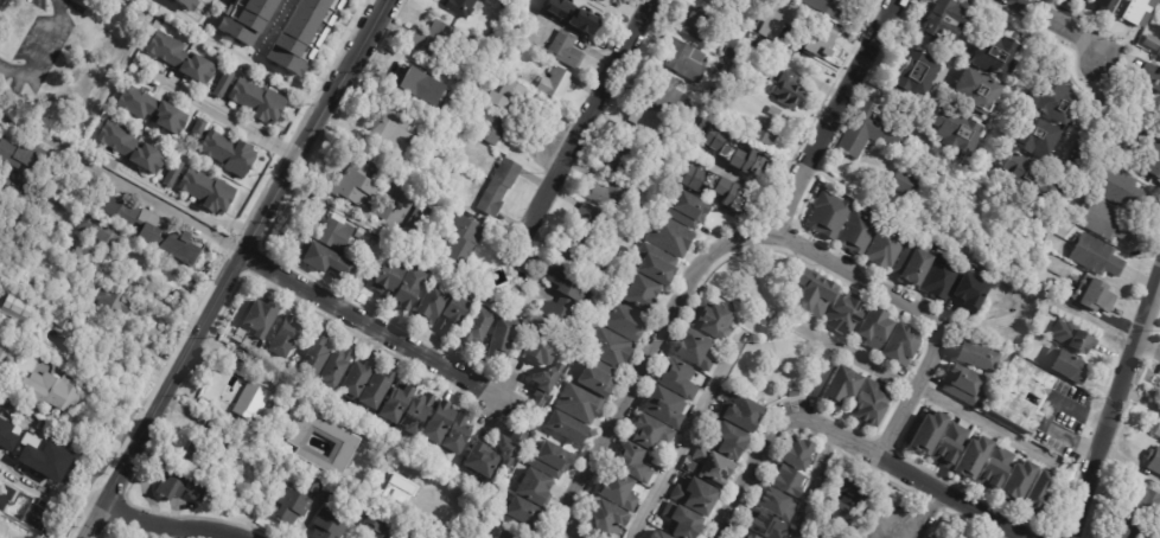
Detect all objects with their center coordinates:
building: (608, 0)
building: (1105, 0)
building: (191, 2)
building: (719, 4)
building: (824, 6)
building: (463, 7)
building: (592, 8)
building: (1137, 12)
building: (573, 15)
building: (246, 18)
building: (942, 19)
building: (769, 20)
building: (1153, 21)
road: (1063, 24)
road: (276, 25)
building: (695, 25)
building: (304, 33)
building: (805, 38)
building: (434, 39)
building: (773, 39)
building: (1149, 41)
building: (752, 44)
building: (992, 49)
building: (566, 51)
building: (1158, 51)
road: (39, 52)
building: (726, 52)
building: (483, 56)
building: (184, 59)
building: (687, 59)
building: (725, 70)
building: (911, 72)
building: (412, 76)
road: (1020, 76)
building: (1151, 77)
building: (222, 83)
building: (559, 83)
building: (422, 88)
building: (971, 88)
building: (714, 89)
building: (792, 90)
building: (667, 94)
building: (506, 96)
building: (467, 97)
building: (1047, 102)
building: (263, 104)
building: (778, 110)
building: (154, 113)
road: (831, 116)
road: (227, 119)
road: (585, 119)
building: (696, 121)
building: (753, 121)
building: (648, 122)
building: (950, 126)
building: (493, 127)
building: (676, 129)
building: (395, 130)
building: (868, 132)
building: (769, 133)
building: (697, 134)
building: (1027, 134)
building: (1159, 136)
building: (919, 140)
building: (133, 149)
building: (733, 152)
building: (231, 154)
building: (1149, 155)
building: (25, 158)
building: (624, 159)
building: (172, 172)
building: (1026, 175)
building: (1142, 175)
road: (120, 180)
building: (50, 182)
building: (905, 182)
building: (358, 185)
building: (19, 186)
building: (718, 186)
building: (1113, 186)
building: (501, 187)
building: (210, 193)
building: (613, 198)
road: (177, 203)
building: (390, 205)
building: (691, 209)
building: (826, 216)
building: (644, 220)
building: (1102, 220)
building: (416, 223)
building: (914, 230)
building: (856, 231)
building: (103, 232)
building: (579, 232)
building: (158, 233)
building: (338, 235)
building: (365, 235)
building: (674, 236)
road: (742, 237)
building: (380, 239)
building: (460, 242)
building: (884, 246)
building: (1092, 256)
building: (85, 258)
building: (330, 262)
building: (662, 263)
building: (911, 263)
road: (231, 267)
building: (614, 268)
building: (1064, 274)
building: (941, 276)
building: (126, 281)
building: (400, 284)
building: (1066, 284)
building: (968, 292)
building: (809, 293)
building: (645, 295)
building: (1091, 295)
building: (503, 300)
building: (110, 302)
building: (567, 303)
building: (445, 307)
building: (17, 308)
building: (72, 310)
building: (842, 313)
building: (765, 315)
building: (261, 319)
building: (627, 319)
building: (708, 322)
building: (64, 326)
building: (479, 326)
road: (371, 327)
building: (869, 328)
park: (769, 332)
building: (503, 335)
building: (287, 337)
building: (1071, 337)
building: (898, 344)
road: (1149, 346)
building: (612, 347)
building: (546, 348)
building: (690, 350)
building: (317, 356)
building: (970, 356)
building: (4, 361)
building: (1065, 366)
building: (338, 369)
building: (597, 376)
building: (675, 378)
building: (357, 380)
building: (548, 385)
building: (840, 385)
building: (960, 385)
building: (378, 389)
road: (919, 389)
building: (52, 393)
building: (1021, 393)
road: (317, 398)
building: (871, 402)
building: (399, 403)
building: (582, 403)
building: (251, 404)
road: (1116, 405)
building: (661, 406)
building: (420, 412)
road: (1047, 414)
building: (741, 415)
building: (450, 428)
building: (568, 428)
building: (646, 431)
building: (1156, 431)
building: (925, 433)
road: (688, 434)
building: (726, 441)
building: (948, 444)
building: (348, 447)
building: (511, 448)
building: (204, 454)
building: (793, 454)
building: (970, 457)
building: (552, 459)
building: (1154, 460)
building: (483, 461)
building: (630, 462)
building: (710, 468)
building: (993, 469)
road: (909, 472)
road: (745, 475)
building: (785, 480)
building: (1015, 480)
road: (815, 482)
road: (49, 485)
building: (317, 485)
building: (180, 487)
building: (535, 488)
building: (616, 491)
building: (848, 491)
building: (408, 494)
building: (1035, 494)
building: (694, 497)
building: (338, 499)
building: (772, 504)
building: (294, 505)
building: (1147, 505)
building: (837, 514)
road: (923, 514)
building: (521, 515)
building: (605, 519)
building: (682, 523)
building: (330, 525)
building: (383, 525)
building: (761, 525)
road: (168, 526)
building: (1124, 529)
building: (501, 534)
building: (506, 534)
building: (654, 534)
building: (742, 534)
building: (409, 536)
building: (962, 536)

